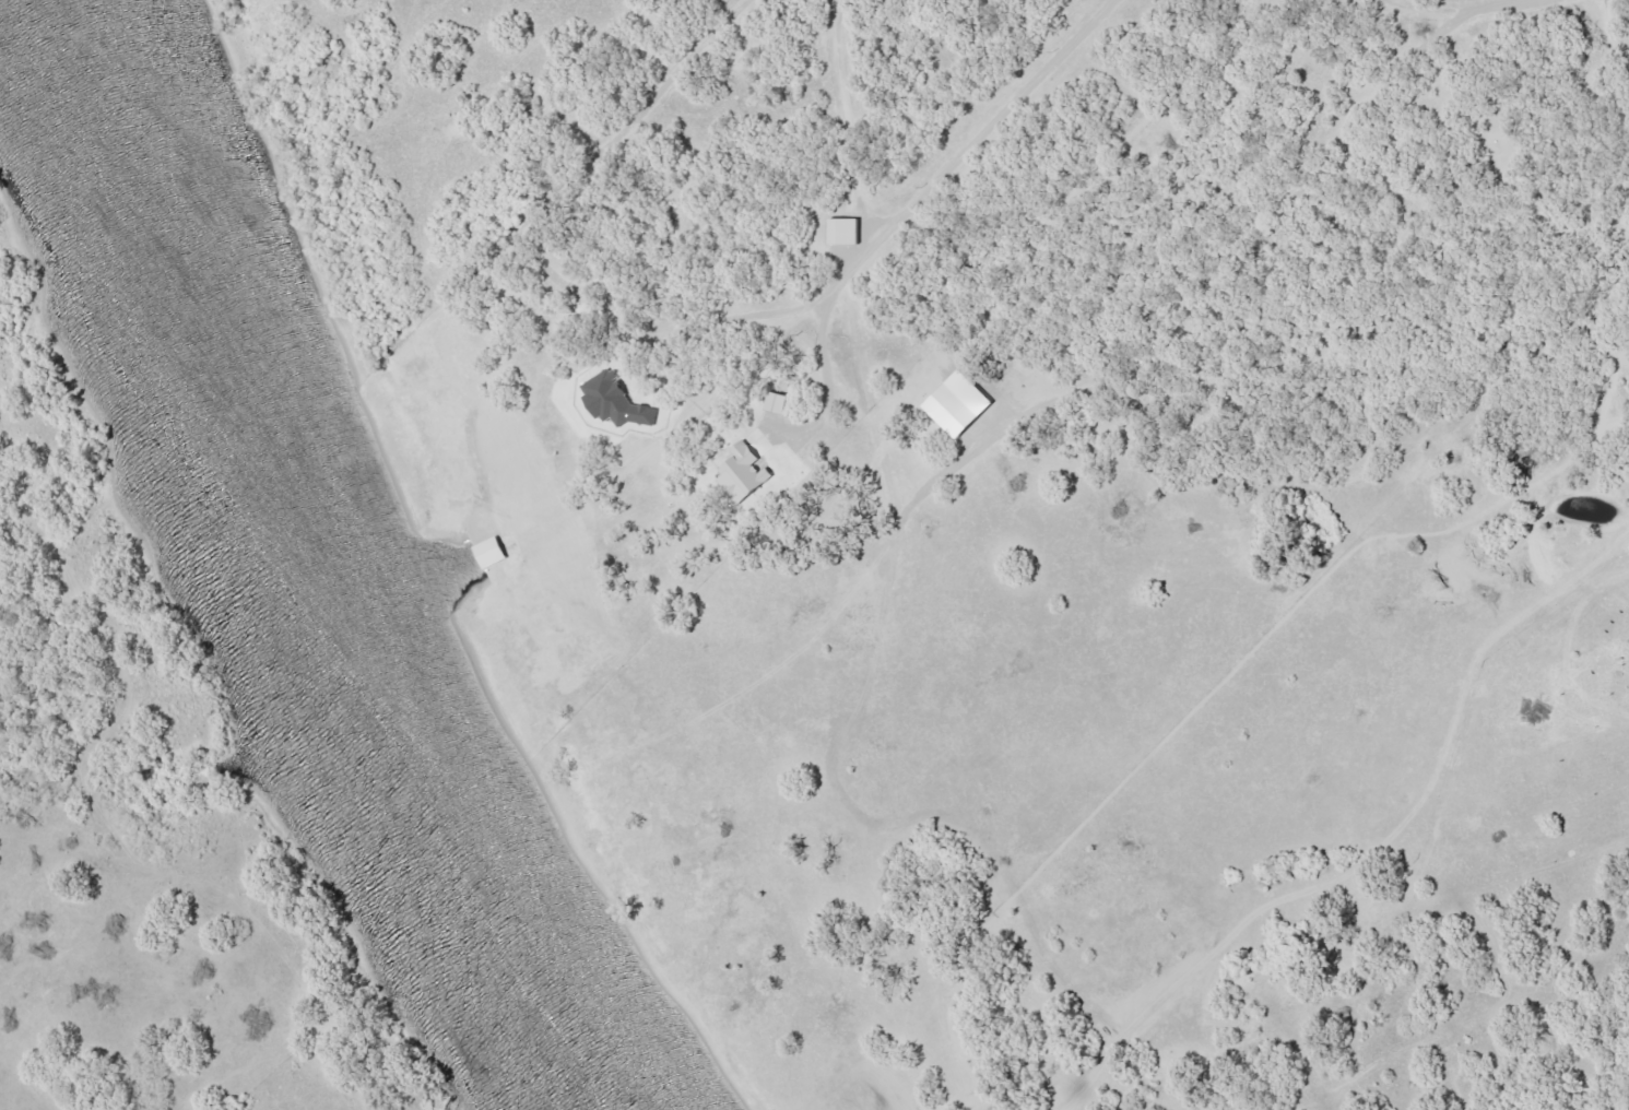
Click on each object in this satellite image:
road: (1456, 15)
river: (319, 555)
road: (884, 570)

